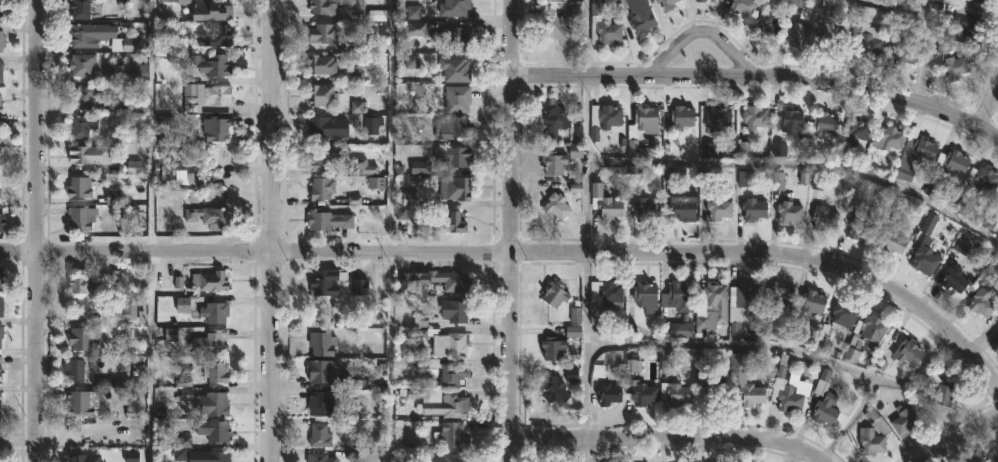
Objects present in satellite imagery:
building: (558, 0)
building: (700, 0)
building: (976, 0)
building: (662, 5)
building: (321, 6)
building: (739, 6)
building: (453, 7)
road: (894, 7)
building: (79, 8)
building: (2, 10)
building: (212, 10)
building: (604, 22)
building: (641, 23)
building: (768, 25)
building: (969, 25)
building: (556, 29)
road: (703, 31)
building: (798, 33)
building: (86, 34)
building: (324, 35)
building: (865, 35)
building: (215, 36)
building: (833, 38)
building: (453, 39)
building: (1, 40)
building: (899, 42)
road: (926, 48)
building: (81, 64)
building: (211, 64)
building: (322, 65)
building: (955, 66)
building: (2, 69)
building: (454, 70)
building: (129, 72)
road: (758, 76)
building: (217, 94)
building: (320, 95)
building: (82, 96)
building: (457, 99)
building: (0, 103)
road: (990, 107)
building: (717, 116)
building: (754, 116)
building: (681, 117)
building: (604, 119)
building: (0, 121)
building: (791, 121)
building: (553, 122)
building: (81, 124)
building: (821, 124)
road: (36, 125)
road: (399, 125)
building: (640, 125)
building: (326, 126)
building: (450, 127)
building: (215, 129)
building: (857, 129)
building: (0, 133)
building: (888, 138)
building: (88, 153)
building: (915, 154)
building: (1, 155)
building: (453, 156)
building: (322, 157)
building: (549, 162)
building: (953, 162)
building: (361, 166)
road: (805, 168)
road: (590, 171)
building: (179, 173)
building: (983, 179)
building: (81, 186)
building: (319, 187)
building: (454, 188)
building: (0, 189)
building: (604, 203)
building: (556, 206)
building: (645, 209)
building: (682, 209)
building: (718, 209)
building: (753, 209)
building: (786, 211)
building: (207, 216)
building: (990, 216)
building: (81, 217)
building: (825, 217)
building: (327, 220)
building: (3, 221)
building: (446, 223)
building: (859, 227)
road: (153, 231)
road: (277, 231)
road: (510, 231)
building: (892, 242)
road: (18, 249)
road: (539, 251)
building: (925, 257)
building: (1, 278)
building: (954, 279)
building: (210, 280)
building: (442, 280)
building: (324, 283)
building: (85, 284)
building: (174, 286)
building: (361, 289)
building: (554, 294)
building: (610, 294)
building: (645, 296)
building: (679, 296)
building: (747, 296)
building: (779, 296)
building: (983, 300)
building: (812, 303)
building: (0, 304)
building: (712, 304)
building: (122, 308)
building: (454, 310)
building: (216, 312)
building: (844, 313)
building: (0, 329)
building: (872, 329)
building: (574, 332)
building: (82, 337)
building: (445, 342)
building: (210, 343)
building: (322, 343)
road: (737, 344)
building: (854, 345)
building: (551, 347)
building: (908, 351)
road: (35, 356)
building: (0, 358)
building: (739, 364)
building: (73, 370)
building: (319, 370)
building: (218, 372)
building: (446, 372)
building: (2, 376)
building: (351, 378)
building: (784, 389)
building: (939, 389)
building: (555, 391)
building: (673, 392)
building: (607, 393)
building: (643, 393)
building: (750, 394)
building: (714, 397)
building: (824, 400)
building: (321, 402)
building: (442, 402)
building: (82, 403)
building: (206, 403)
building: (904, 421)
building: (1, 430)
building: (212, 431)
building: (450, 434)
building: (319, 435)
road: (670, 436)
road: (963, 437)
building: (870, 442)
road: (585, 448)
road: (794, 454)
building: (994, 455)
building: (207, 456)
building: (453, 457)
building: (78, 458)
building: (318, 458)
building: (972, 461)

